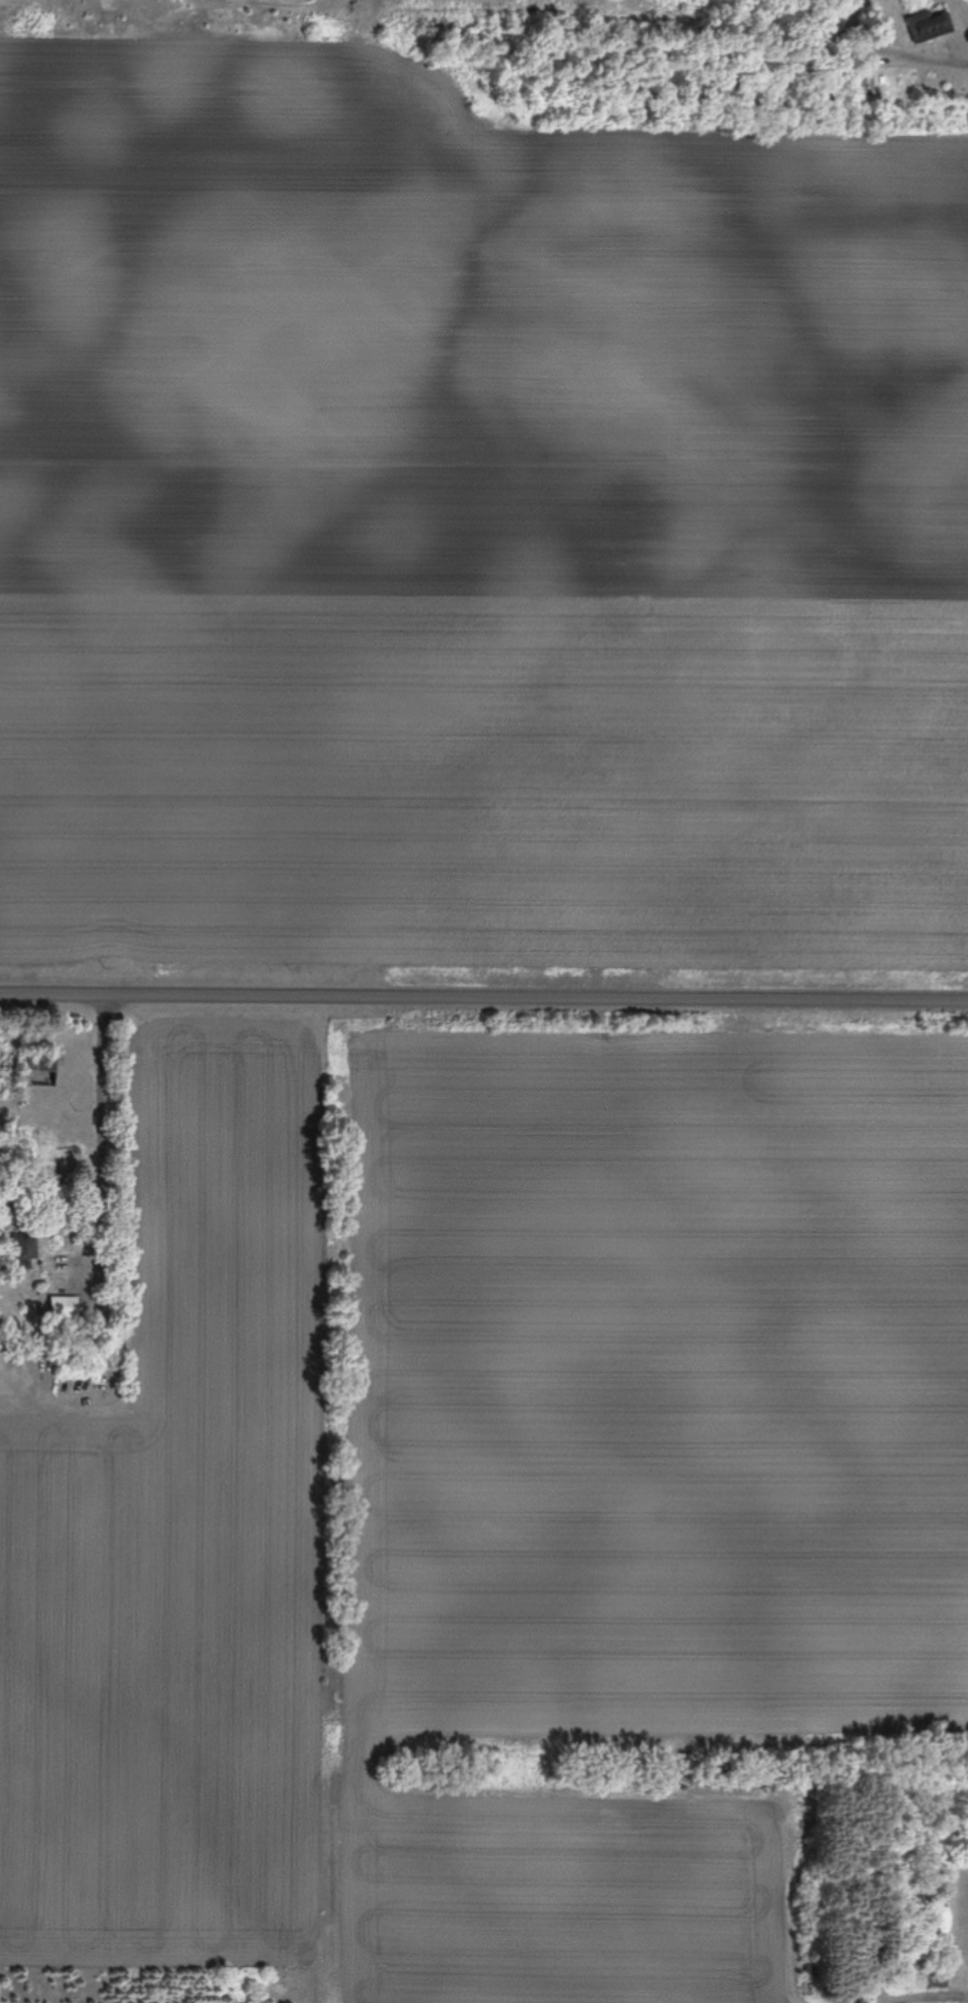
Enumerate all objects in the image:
building: (929, 28)
building: (875, 29)
road: (926, 58)
road: (484, 997)
building: (40, 1071)
road: (71, 1225)
building: (23, 1254)
building: (63, 1309)
building: (99, 1328)
road: (932, 1894)
building: (935, 1979)

